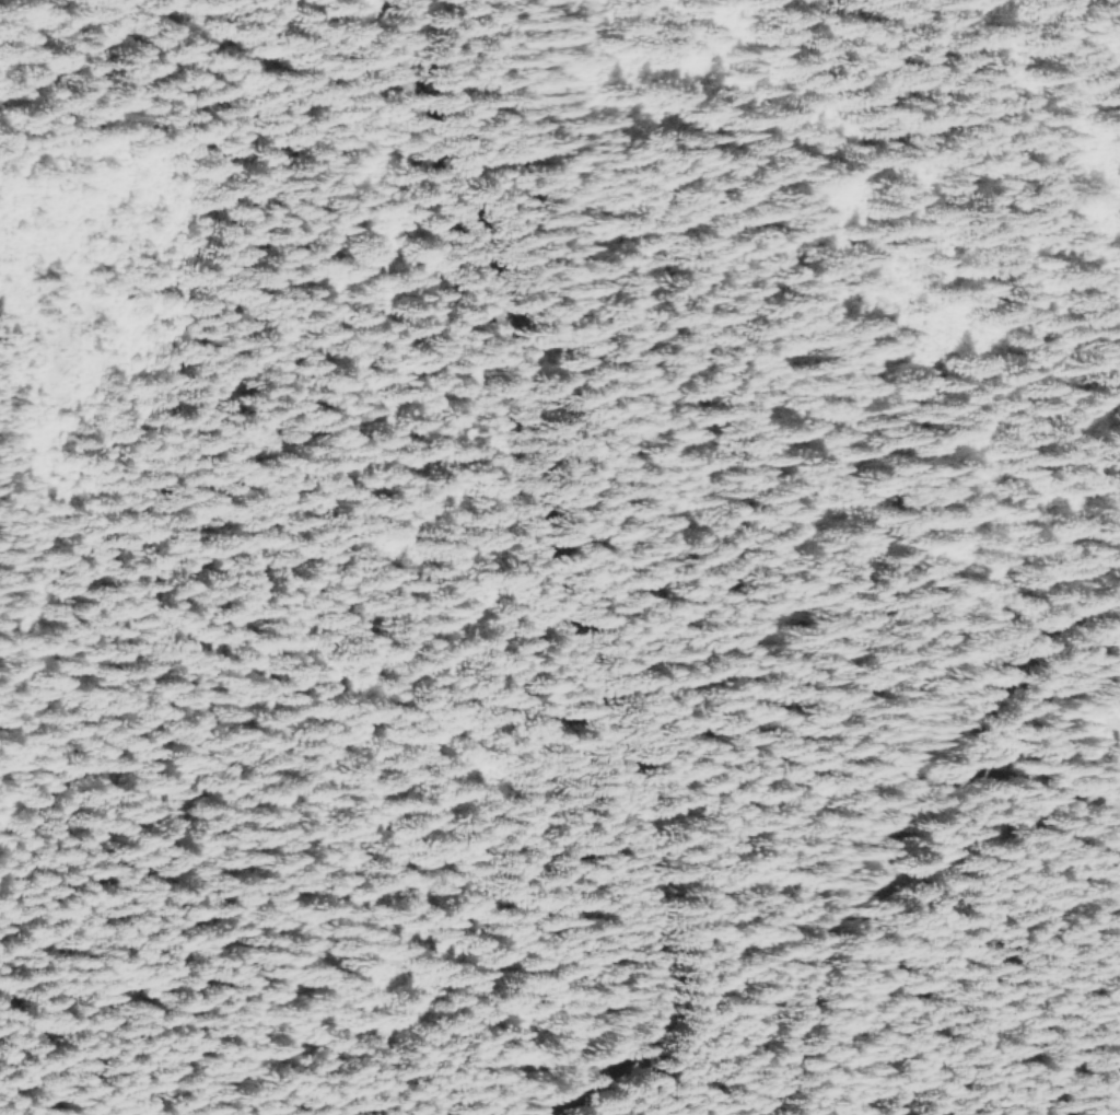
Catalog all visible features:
road: (551, 580)
road: (983, 776)
road: (894, 816)

